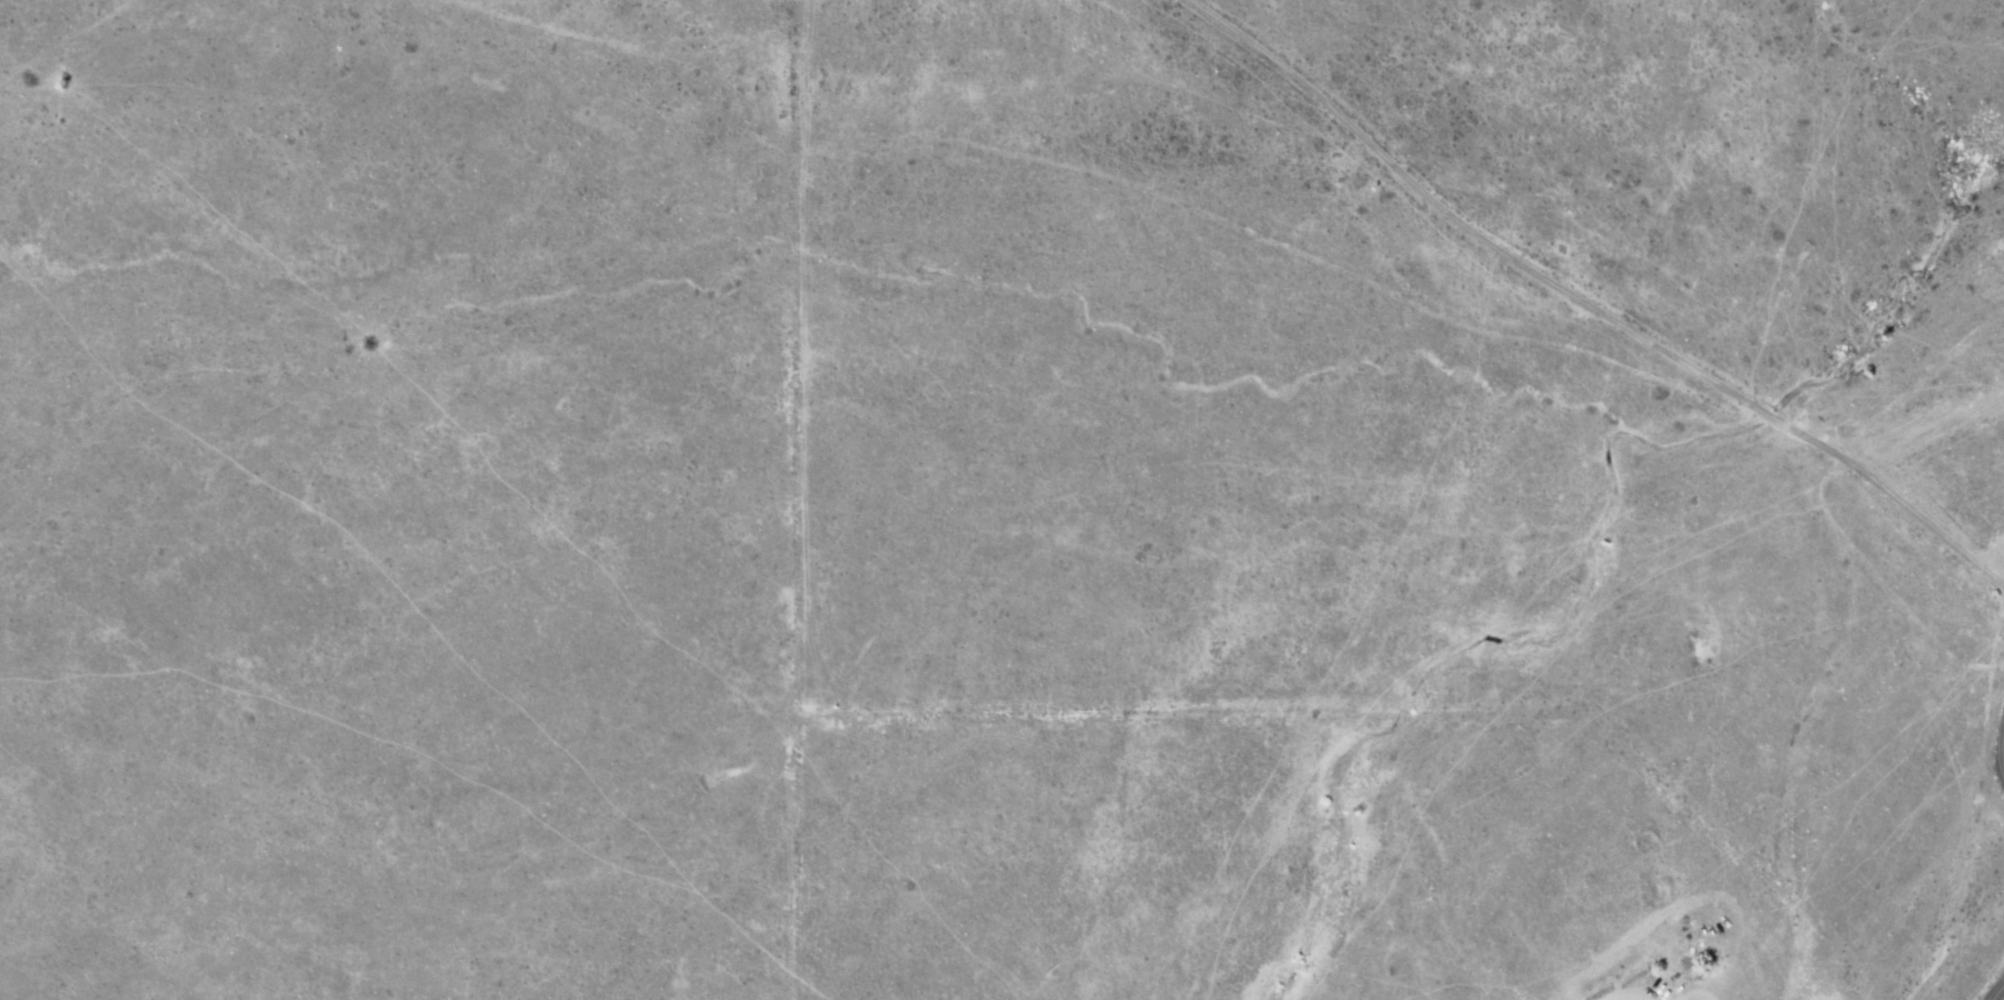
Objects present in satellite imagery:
road: (2001, 996)

